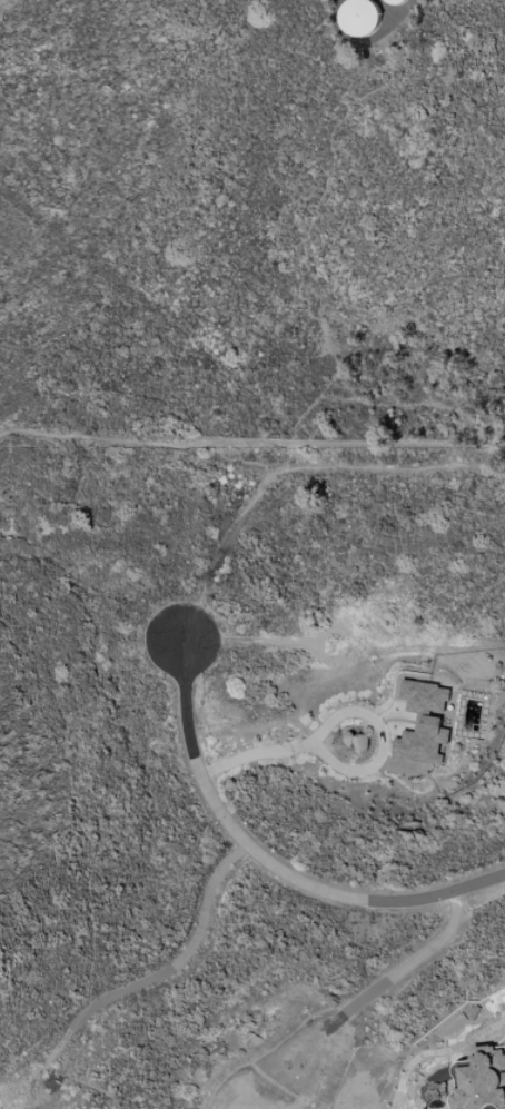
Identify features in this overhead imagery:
building: (395, 1)
building: (359, 17)
road: (251, 444)
road: (339, 715)
building: (422, 723)
building: (358, 744)
road: (267, 863)
road: (383, 983)
building: (455, 1066)
building: (482, 1080)

